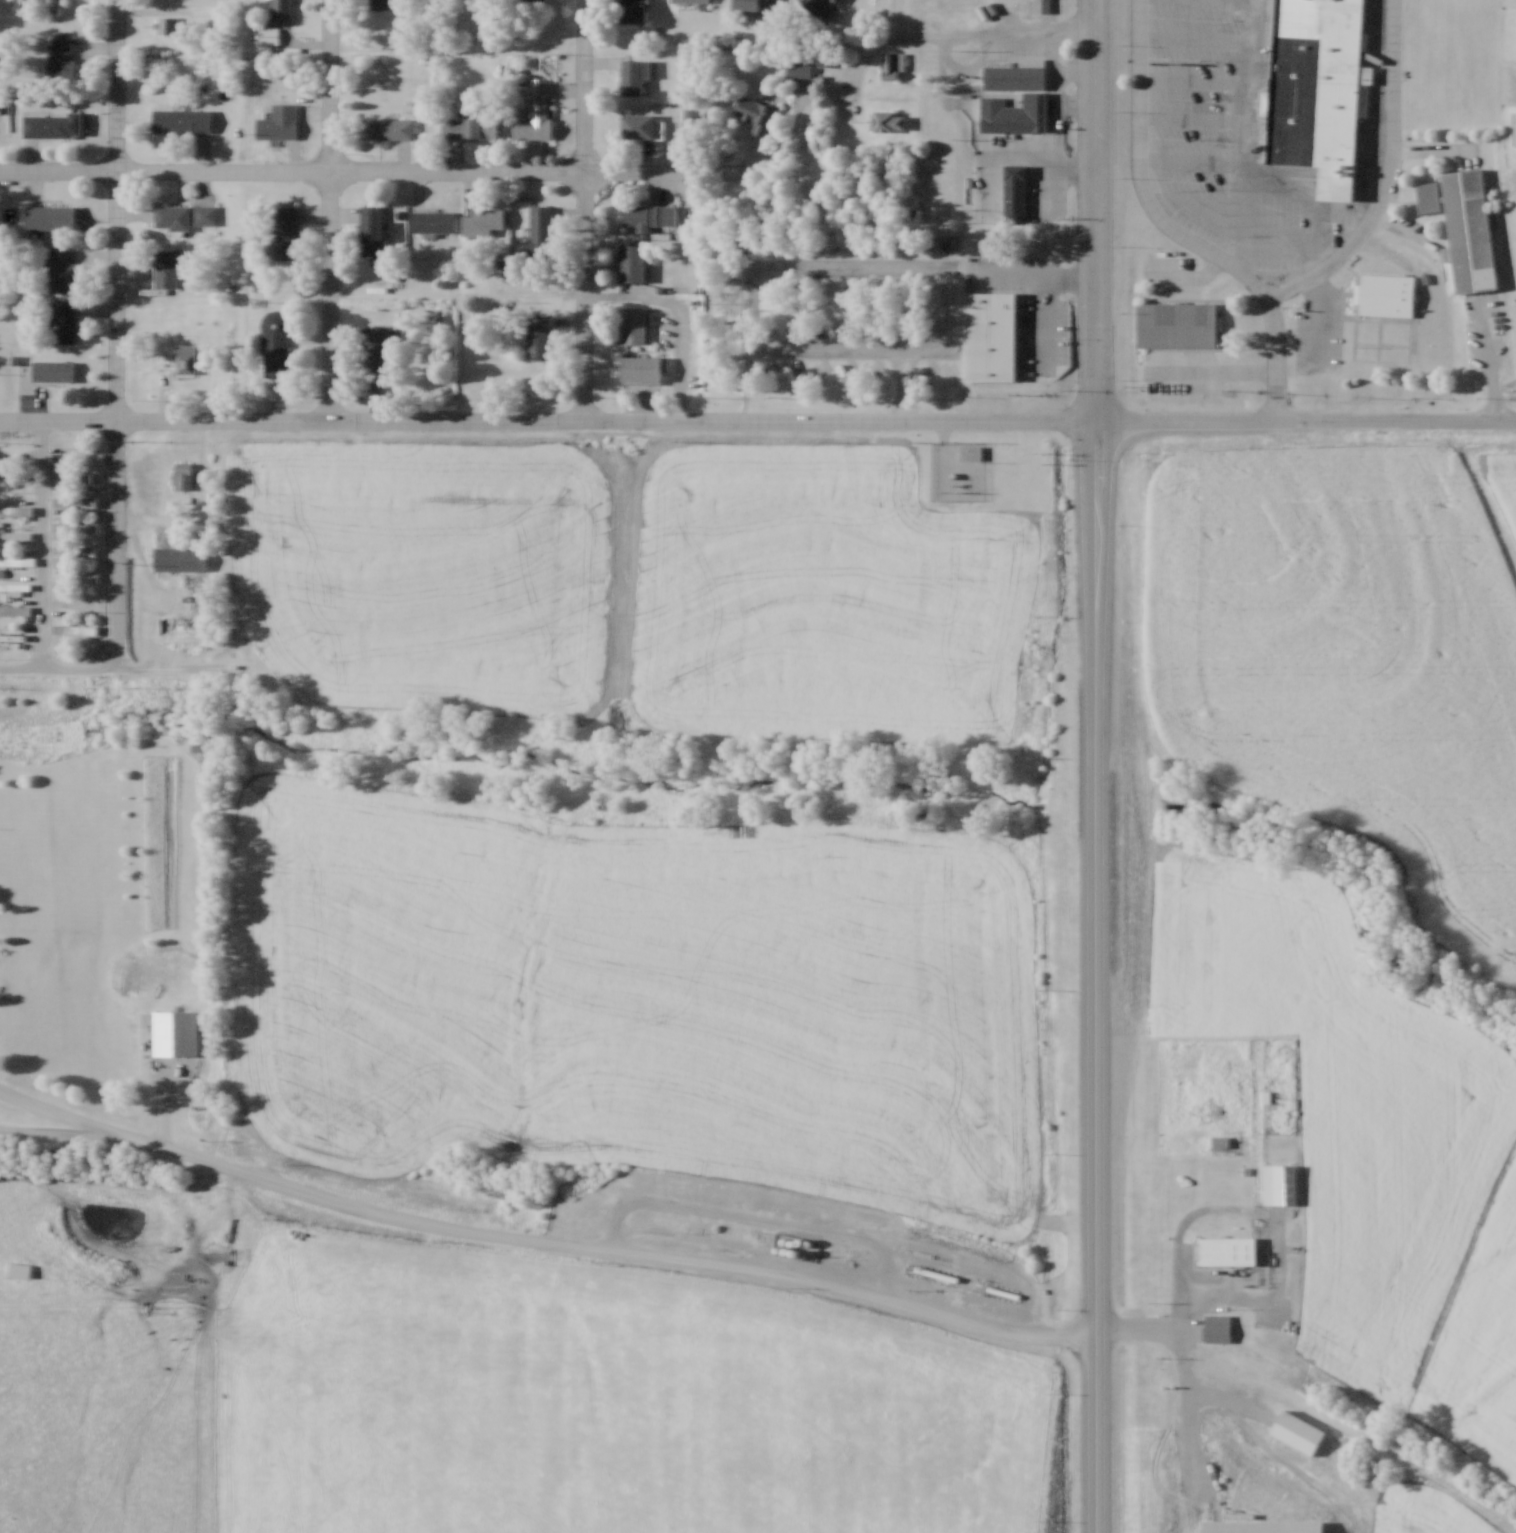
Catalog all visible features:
building: (690, 0)
building: (383, 3)
building: (758, 3)
building: (817, 5)
building: (281, 7)
building: (633, 10)
road: (1097, 17)
building: (167, 24)
road: (943, 35)
building: (61, 57)
building: (892, 63)
building: (1016, 73)
building: (634, 74)
road: (245, 86)
building: (1320, 90)
building: (535, 111)
building: (1014, 112)
building: (756, 113)
building: (693, 116)
building: (182, 119)
building: (888, 120)
building: (279, 121)
building: (51, 123)
building: (638, 123)
building: (386, 127)
building: (469, 127)
road: (57, 170)
road: (430, 173)
road: (1387, 177)
building: (1015, 191)
building: (1428, 196)
road: (114, 209)
road: (336, 211)
road: (590, 211)
building: (205, 214)
building: (649, 214)
building: (50, 216)
building: (173, 216)
building: (483, 220)
building: (432, 221)
building: (540, 226)
road: (1173, 227)
building: (372, 229)
building: (1472, 231)
building: (286, 232)
building: (858, 241)
building: (944, 241)
building: (631, 261)
building: (166, 267)
building: (59, 268)
road: (883, 271)
road: (1054, 277)
building: (260, 279)
building: (1388, 297)
road: (643, 300)
building: (64, 320)
building: (635, 323)
building: (1178, 327)
building: (538, 334)
building: (276, 343)
road: (1098, 344)
building: (375, 346)
road: (865, 352)
road: (1496, 357)
building: (185, 359)
building: (642, 368)
building: (53, 369)
building: (983, 385)
road: (1306, 419)
road: (59, 420)
road: (608, 422)
building: (971, 451)
building: (17, 462)
building: (183, 475)
building: (71, 477)
road: (1485, 496)
building: (74, 501)
building: (15, 510)
building: (74, 526)
building: (15, 535)
road: (43, 546)
building: (73, 550)
building: (180, 557)
building: (16, 560)
building: (73, 575)
road: (123, 580)
building: (15, 586)
building: (73, 603)
building: (15, 610)
building: (72, 628)
building: (15, 638)
road: (21, 671)
building: (0, 988)
road: (1095, 1093)
building: (1279, 1183)
road: (540, 1245)
building: (1228, 1250)
building: (974, 1283)
building: (1003, 1291)
road: (1269, 1295)
road: (1138, 1327)
building: (1216, 1327)
building: (1298, 1431)
building: (1262, 1525)

